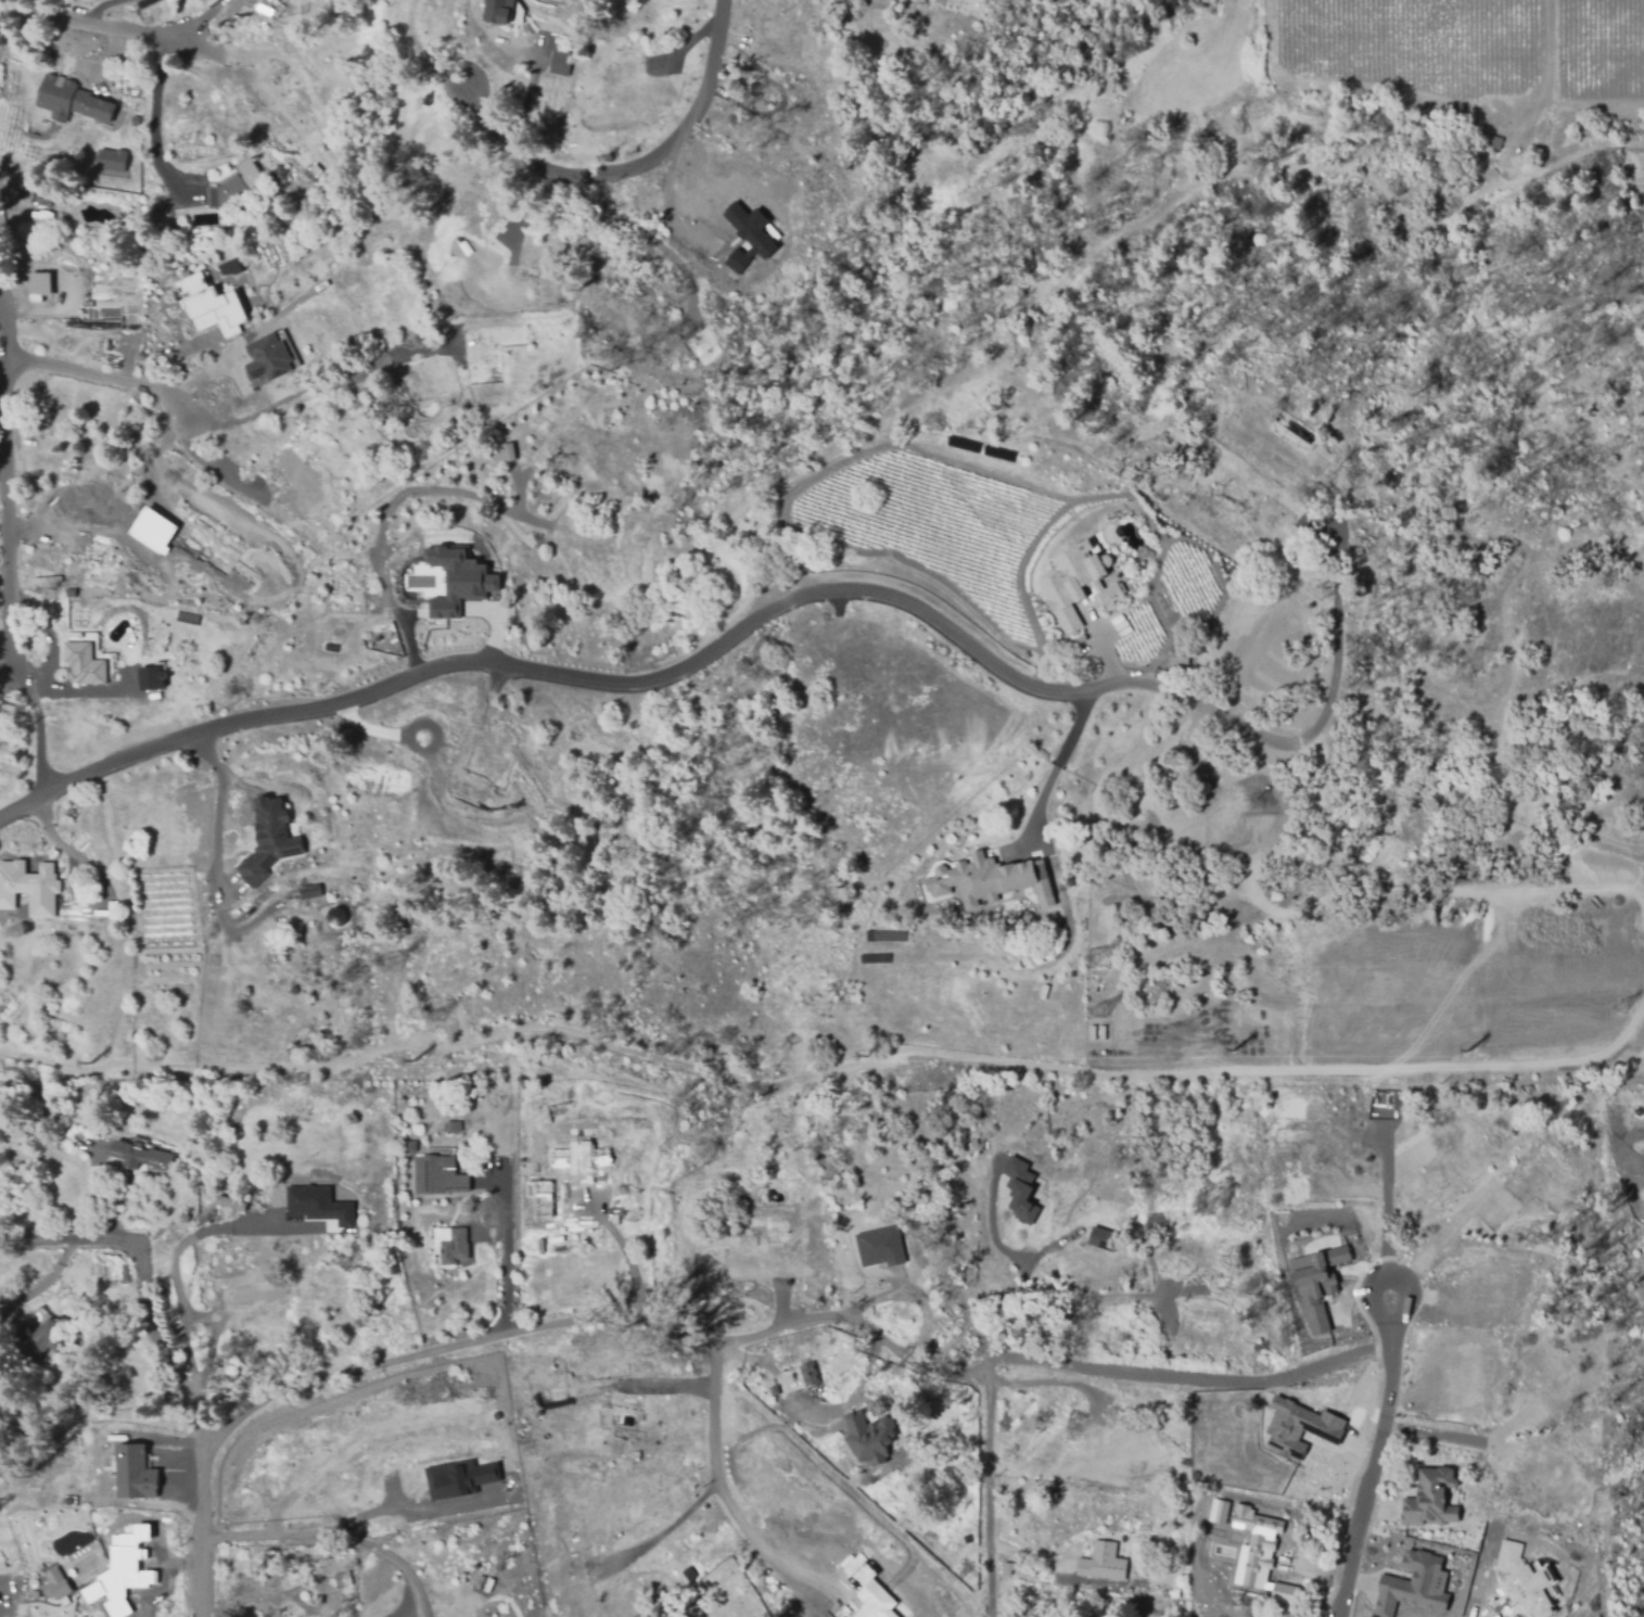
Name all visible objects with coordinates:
road: (99, 10)
building: (497, 10)
road: (86, 29)
building: (559, 55)
road: (527, 89)
building: (67, 100)
road: (157, 119)
building: (109, 160)
building: (251, 166)
road: (629, 166)
road: (664, 205)
building: (162, 209)
building: (745, 235)
building: (232, 258)
building: (38, 284)
building: (207, 306)
building: (267, 357)
road: (103, 380)
road: (286, 402)
building: (1295, 419)
building: (506, 453)
road: (160, 469)
road: (7, 511)
building: (153, 530)
building: (466, 569)
building: (1086, 575)
road: (1333, 634)
building: (1177, 657)
building: (80, 664)
road: (680, 673)
building: (150, 678)
road: (1054, 768)
road: (18, 799)
road: (218, 806)
building: (266, 842)
building: (992, 869)
building: (29, 887)
building: (306, 892)
building: (334, 916)
power tower: (1095, 959)
power tower: (385, 965)
power tower: (1615, 1010)
power tower: (1094, 1015)
power tower: (431, 1020)
power tower: (515, 1056)
power tower: (1193, 1057)
power tower: (917, 1062)
road: (827, 1070)
power substation: (1384, 1106)
building: (453, 1124)
road: (1622, 1130)
building: (409, 1144)
building: (173, 1147)
building: (141, 1157)
building: (520, 1168)
building: (437, 1173)
building: (1019, 1189)
building: (227, 1205)
building: (315, 1206)
road: (1387, 1208)
building: (1101, 1238)
building: (453, 1245)
road: (179, 1247)
building: (879, 1247)
building: (1338, 1255)
road: (627, 1258)
building: (1313, 1273)
road: (1388, 1277)
road: (144, 1286)
road: (506, 1289)
road: (1063, 1298)
building: (1316, 1319)
road: (511, 1332)
building: (46, 1338)
road: (747, 1355)
building: (808, 1372)
road: (1186, 1375)
road: (1041, 1383)
road: (672, 1388)
road: (99, 1414)
building: (1298, 1428)
building: (148, 1436)
building: (868, 1438)
road: (1369, 1472)
building: (130, 1475)
building: (459, 1477)
road: (989, 1492)
road: (726, 1498)
building: (1431, 1503)
building: (561, 1510)
building: (1216, 1511)
road: (673, 1523)
road: (332, 1538)
road: (799, 1548)
building: (1253, 1548)
building: (1103, 1563)
building: (124, 1571)
building: (342, 1578)
building: (1521, 1580)
building: (31, 1582)
building: (56, 1582)
building: (1412, 1584)
road: (288, 1588)
building: (1285, 1592)
building: (874, 1602)

